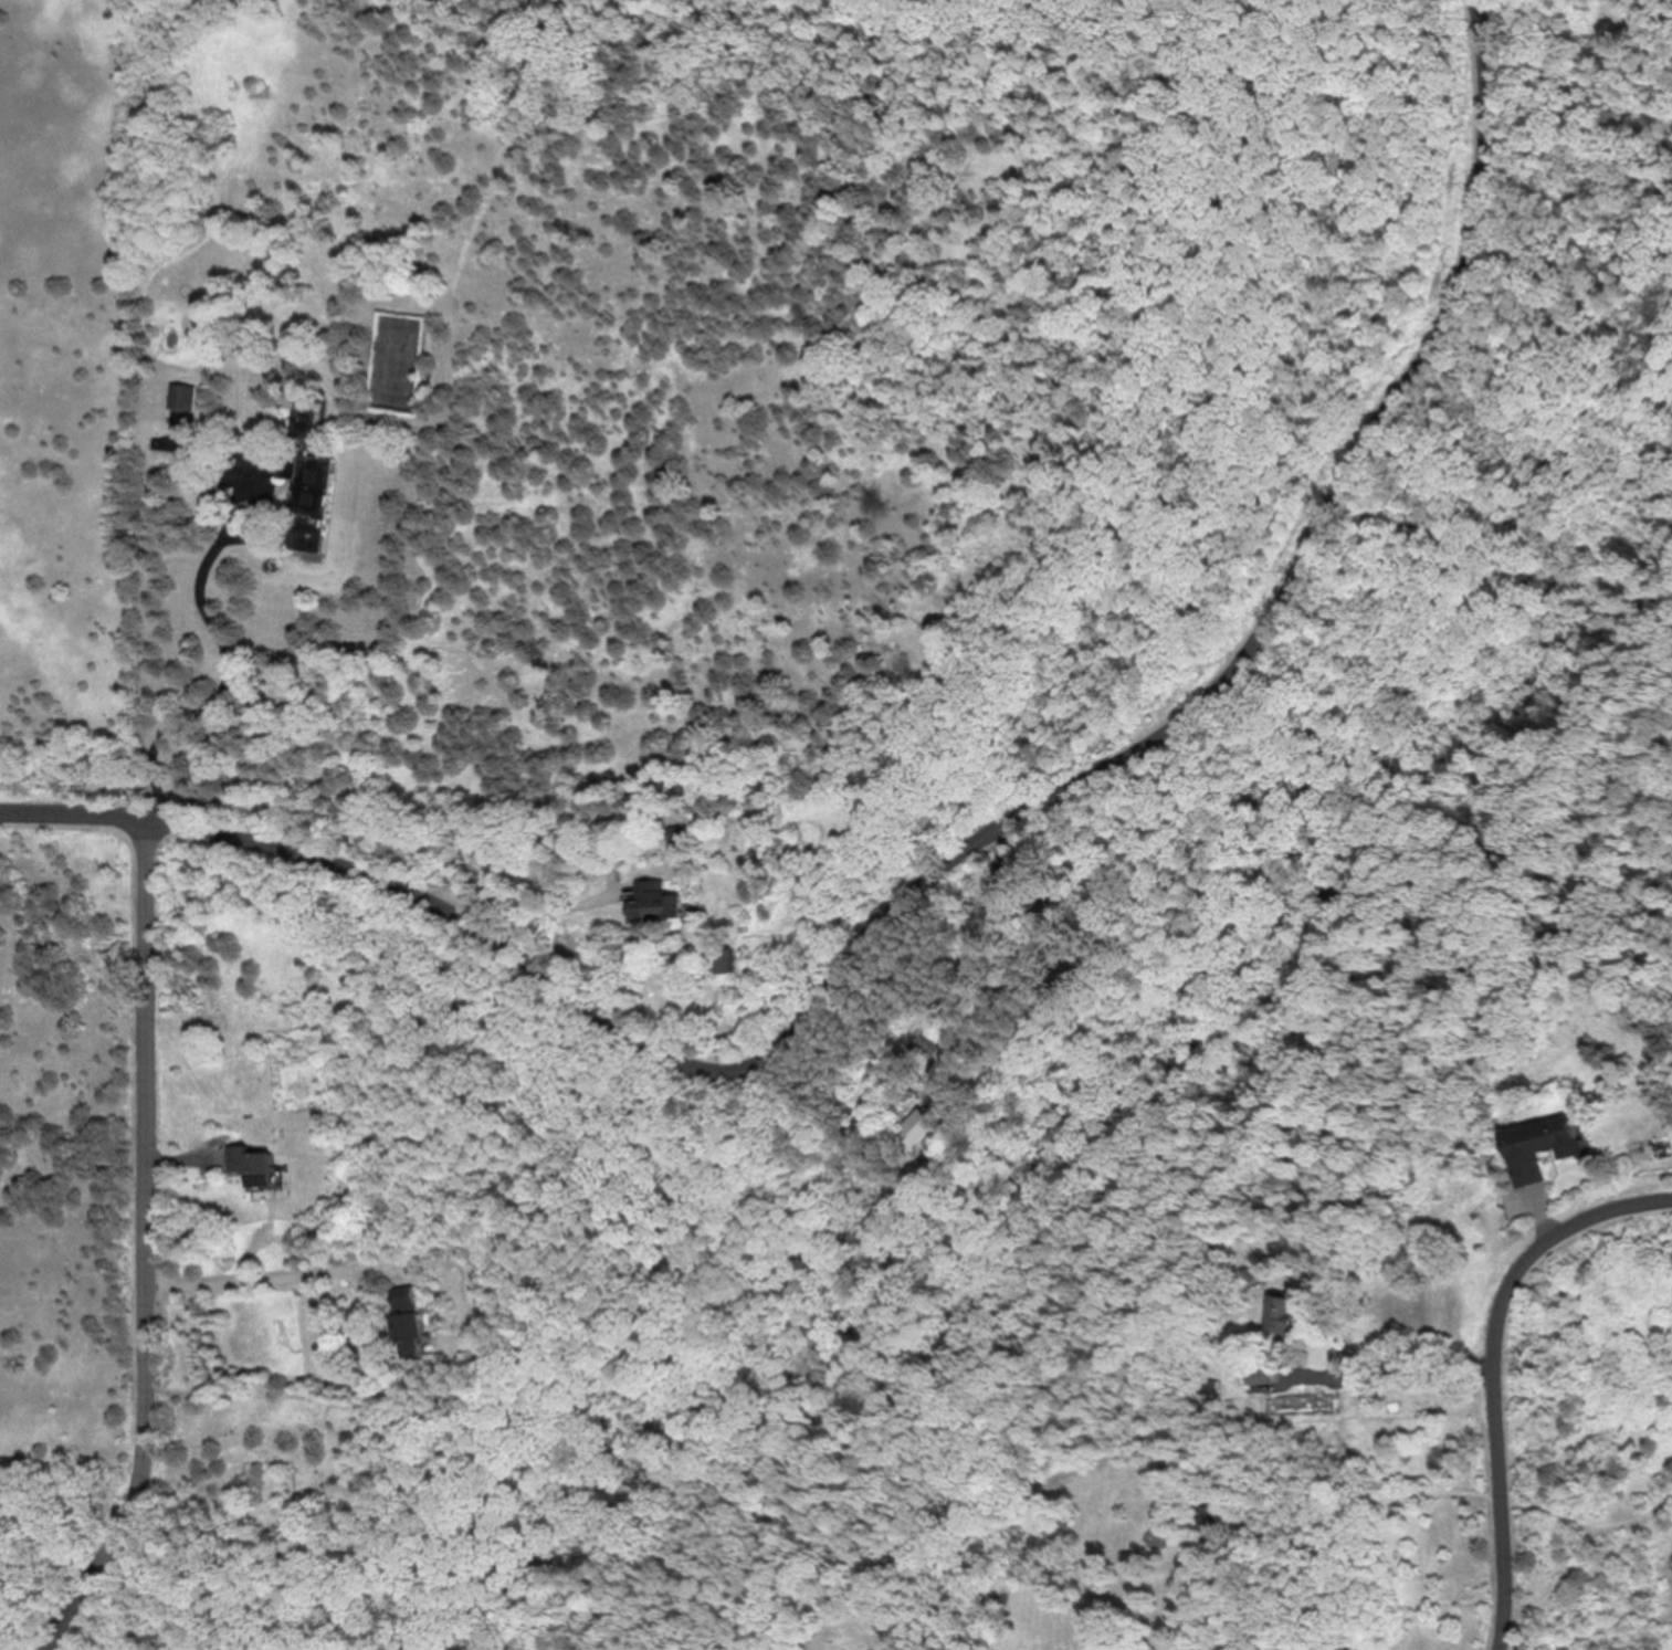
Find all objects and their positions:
building: (182, 398)
building: (306, 485)
building: (221, 494)
road: (230, 663)
building: (680, 843)
road: (943, 868)
building: (656, 902)
road: (449, 915)
road: (538, 916)
road: (972, 955)
building: (729, 960)
building: (928, 1124)
building: (1542, 1145)
building: (251, 1165)
park: (72, 1234)
road: (145, 1244)
road: (274, 1275)
building: (1286, 1313)
building: (410, 1327)
road: (1390, 1372)
road: (1495, 1372)
building: (1261, 1376)

